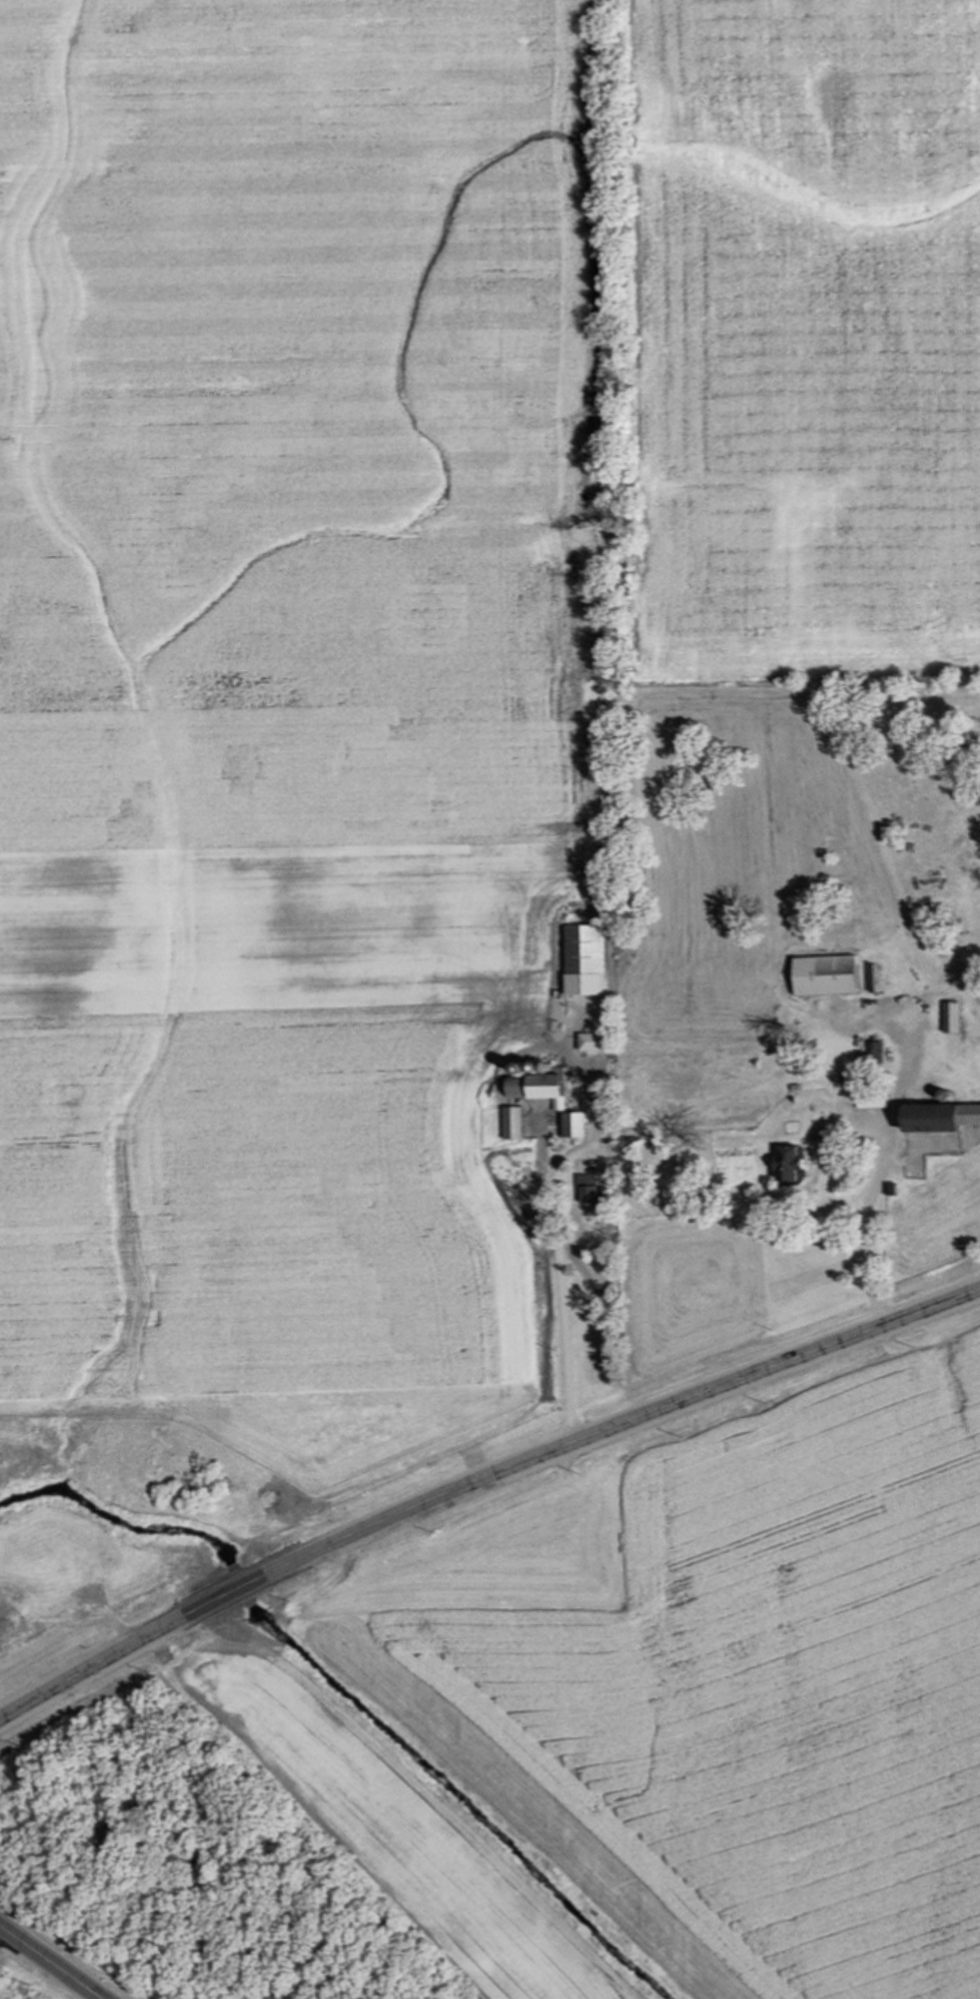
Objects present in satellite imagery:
building: (585, 961)
building: (825, 977)
building: (952, 1018)
building: (530, 1088)
building: (574, 1127)
building: (785, 1165)
road: (864, 1229)
road: (565, 1298)
road: (479, 1482)
road: (4, 1933)
road: (52, 1962)

